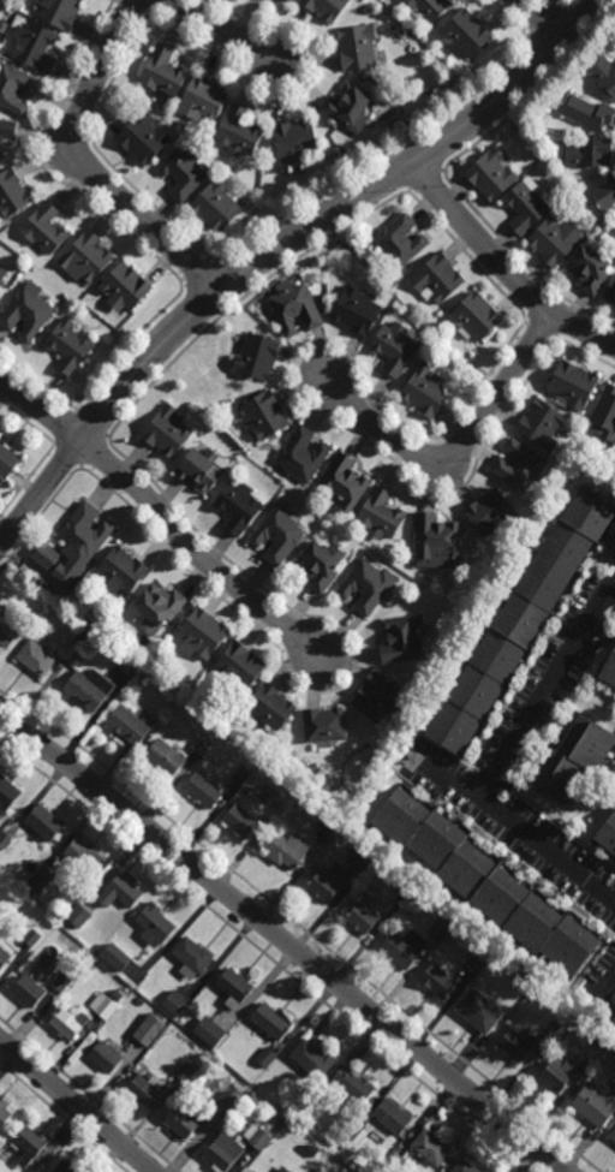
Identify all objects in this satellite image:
building: (262, 0)
building: (289, 2)
road: (543, 2)
road: (551, 2)
road: (141, 5)
road: (154, 5)
building: (326, 8)
building: (429, 8)
building: (58, 12)
road: (151, 13)
road: (580, 13)
road: (507, 14)
road: (535, 17)
road: (538, 19)
building: (2, 26)
road: (525, 29)
road: (221, 31)
building: (464, 35)
building: (356, 47)
building: (32, 48)
road: (538, 59)
building: (162, 75)
building: (603, 75)
building: (16, 90)
road: (299, 90)
road: (535, 93)
building: (201, 102)
building: (345, 107)
building: (587, 114)
road: (78, 115)
building: (6, 133)
building: (237, 133)
building: (142, 139)
building: (294, 144)
road: (100, 151)
road: (425, 154)
building: (585, 155)
road: (378, 156)
road: (40, 165)
road: (83, 166)
road: (398, 171)
road: (442, 173)
road: (92, 174)
building: (181, 174)
building: (490, 175)
road: (424, 180)
building: (611, 185)
road: (410, 192)
building: (11, 196)
building: (525, 206)
building: (214, 209)
building: (44, 230)
building: (399, 242)
building: (555, 243)
road: (273, 249)
road: (468, 256)
building: (85, 258)
road: (207, 260)
road: (520, 260)
road: (503, 267)
road: (195, 270)
building: (587, 270)
building: (1, 276)
road: (231, 279)
building: (436, 279)
road: (183, 281)
building: (123, 290)
building: (610, 293)
road: (244, 297)
road: (535, 299)
road: (196, 307)
building: (294, 311)
building: (25, 313)
building: (353, 313)
building: (473, 320)
road: (525, 322)
road: (568, 325)
road: (537, 331)
road: (549, 341)
building: (67, 346)
road: (126, 346)
building: (394, 350)
building: (255, 358)
road: (38, 379)
building: (572, 387)
building: (425, 393)
road: (317, 414)
building: (605, 414)
building: (263, 415)
road: (26, 422)
road: (90, 423)
building: (541, 424)
road: (61, 428)
building: (166, 433)
road: (108, 435)
road: (402, 445)
road: (460, 446)
road: (92, 450)
road: (461, 450)
road: (65, 453)
building: (300, 456)
building: (6, 460)
road: (79, 466)
building: (202, 468)
building: (519, 468)
road: (26, 477)
building: (342, 483)
building: (237, 506)
road: (157, 510)
building: (491, 513)
building: (378, 516)
road: (38, 518)
building: (277, 534)
building: (83, 536)
building: (435, 541)
building: (46, 555)
building: (316, 566)
building: (121, 571)
building: (365, 587)
building: (157, 607)
building: (517, 623)
building: (8, 625)
building: (202, 633)
building: (401, 637)
building: (80, 638)
building: (35, 659)
building: (127, 664)
building: (239, 666)
building: (609, 670)
building: (144, 674)
road: (348, 679)
building: (86, 690)
building: (375, 697)
building: (269, 708)
building: (126, 726)
building: (322, 726)
building: (202, 743)
building: (162, 758)
building: (572, 761)
road: (494, 765)
building: (241, 774)
road: (448, 778)
road: (502, 779)
building: (203, 790)
building: (7, 796)
building: (239, 822)
building: (43, 823)
road: (563, 828)
building: (326, 829)
building: (608, 837)
building: (5, 840)
building: (285, 851)
building: (83, 855)
building: (360, 856)
building: (40, 879)
building: (483, 884)
building: (322, 887)
building: (118, 893)
building: (402, 897)
building: (78, 915)
building: (362, 918)
building: (153, 927)
building: (440, 927)
road: (301, 928)
building: (32, 938)
road: (285, 940)
building: (401, 948)
road: (265, 956)
building: (4, 957)
building: (117, 957)
building: (191, 959)
building: (150, 962)
building: (474, 964)
building: (74, 970)
building: (524, 978)
building: (61, 981)
building: (436, 981)
building: (232, 986)
building: (28, 990)
road: (610, 992)
building: (117, 995)
building: (141, 1001)
building: (174, 1003)
building: (103, 1005)
building: (478, 1012)
building: (269, 1021)
building: (64, 1024)
building: (149, 1029)
building: (209, 1030)
building: (548, 1033)
building: (515, 1047)
building: (265, 1055)
building: (103, 1058)
building: (314, 1059)
building: (185, 1071)
building: (562, 1075)
building: (352, 1087)
building: (142, 1091)
road: (89, 1095)
building: (251, 1095)
building: (227, 1099)
road: (77, 1105)
building: (595, 1105)
building: (4, 1112)
road: (62, 1117)
building: (390, 1118)
building: (185, 1119)
building: (353, 1128)
building: (257, 1136)
building: (611, 1136)
building: (26, 1143)
building: (429, 1148)
building: (222, 1153)
building: (392, 1162)
building: (62, 1167)
building: (464, 1167)
building: (282, 1168)
building: (318, 1170)
building: (253, 1171)

